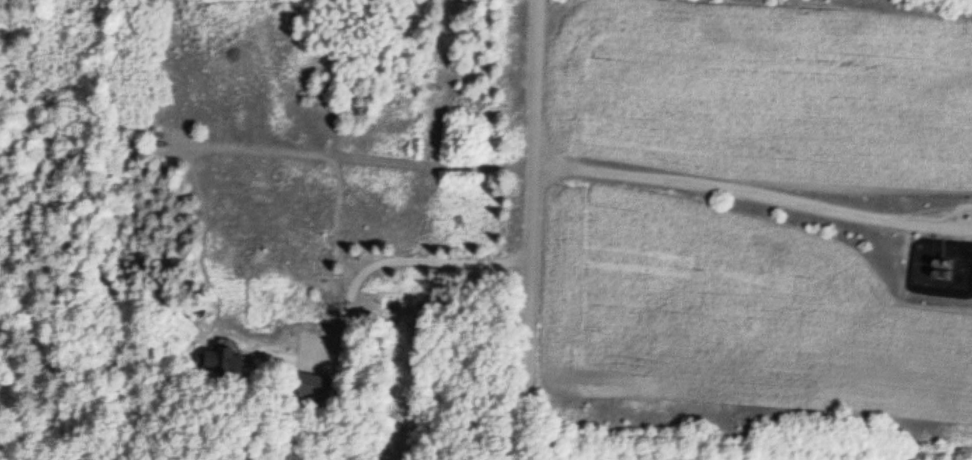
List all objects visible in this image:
road: (750, 193)
road: (528, 230)
building: (312, 386)

